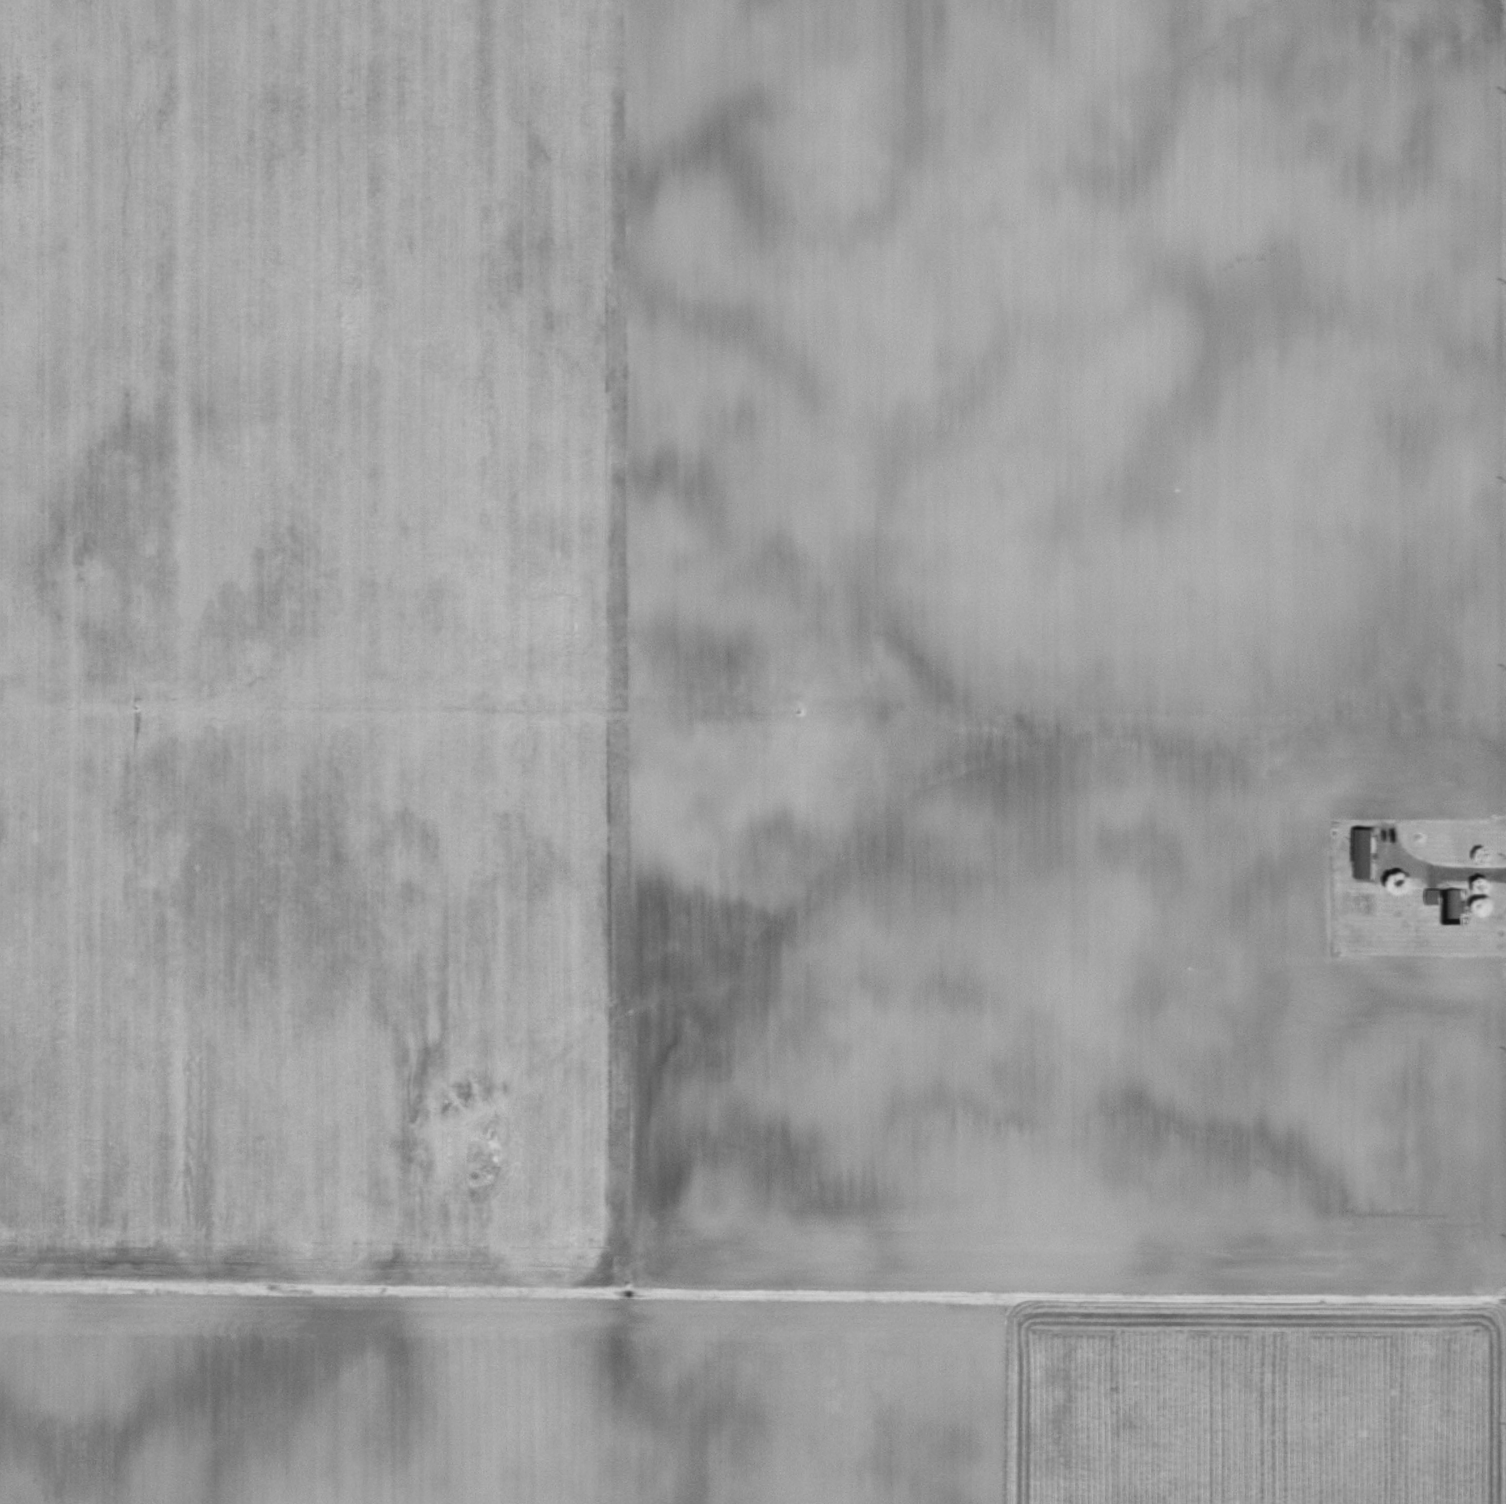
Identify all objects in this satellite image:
building: (1365, 853)
building: (1435, 897)
building: (1457, 906)

